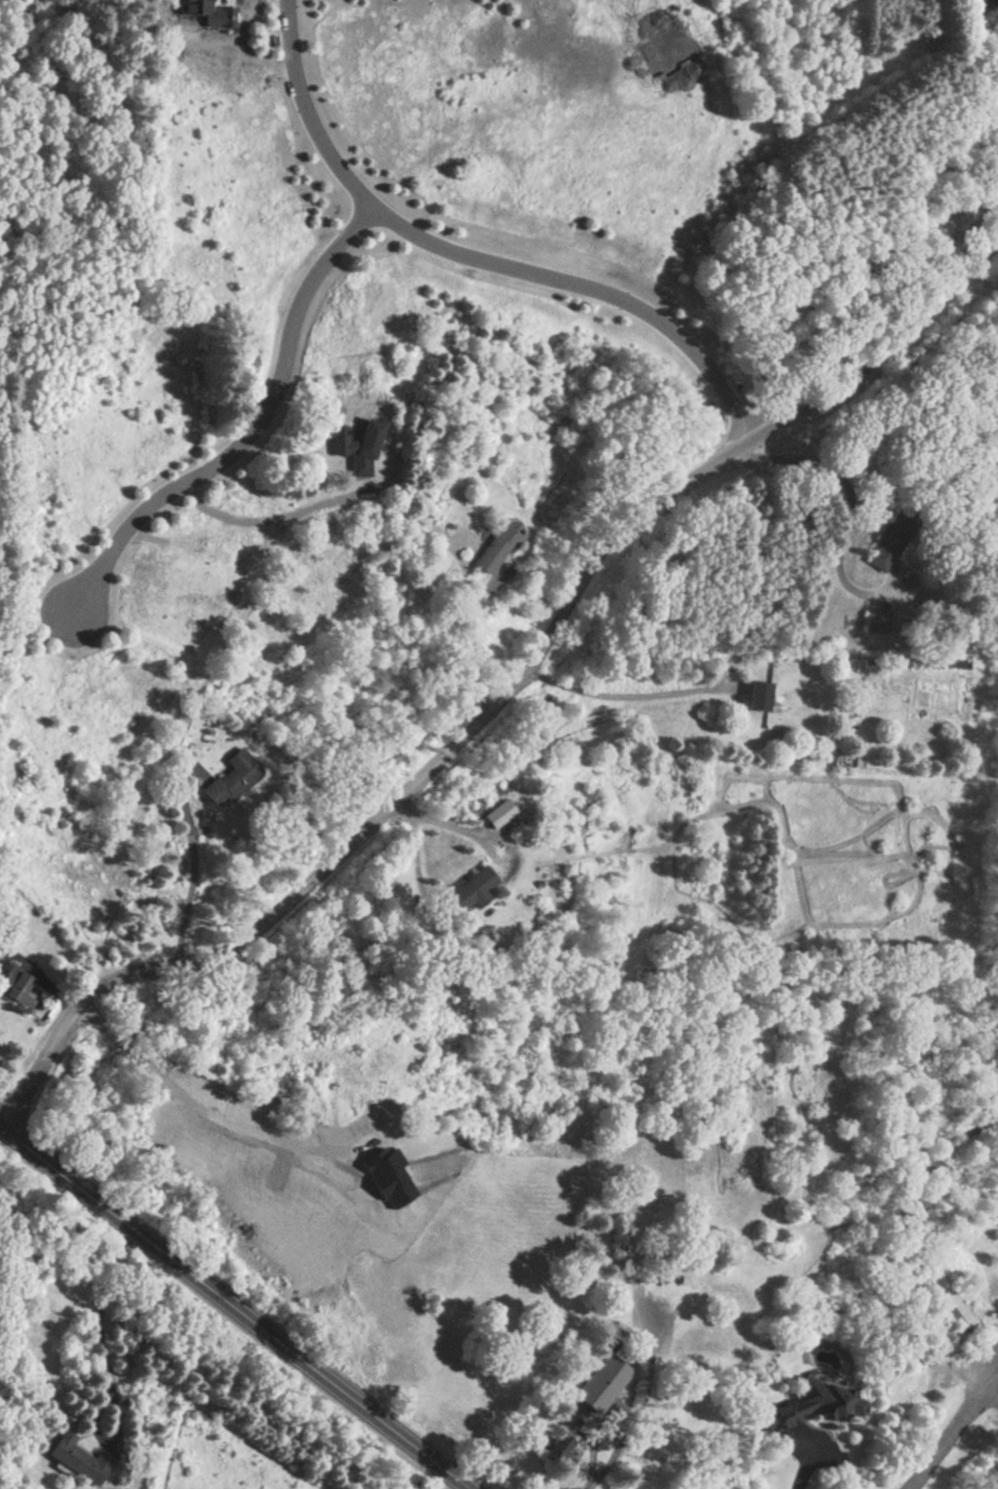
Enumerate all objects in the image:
building: (977, 5)
building: (211, 14)
road: (478, 258)
road: (248, 429)
road: (845, 510)
road: (264, 515)
road: (193, 532)
building: (892, 538)
building: (499, 542)
building: (876, 621)
building: (58, 623)
road: (467, 640)
building: (757, 691)
road: (510, 692)
road: (631, 697)
building: (236, 774)
building: (501, 816)
road: (416, 857)
road: (190, 864)
building: (85, 884)
building: (474, 885)
road: (42, 970)
building: (14, 981)
road: (201, 1100)
road: (906, 1238)
road: (234, 1307)
road: (105, 1368)
building: (600, 1381)
road: (990, 1398)
road: (635, 1403)
building: (805, 1404)
building: (572, 1419)
road: (950, 1432)
building: (554, 1447)
building: (77, 1458)
road: (803, 1469)
road: (466, 1488)

